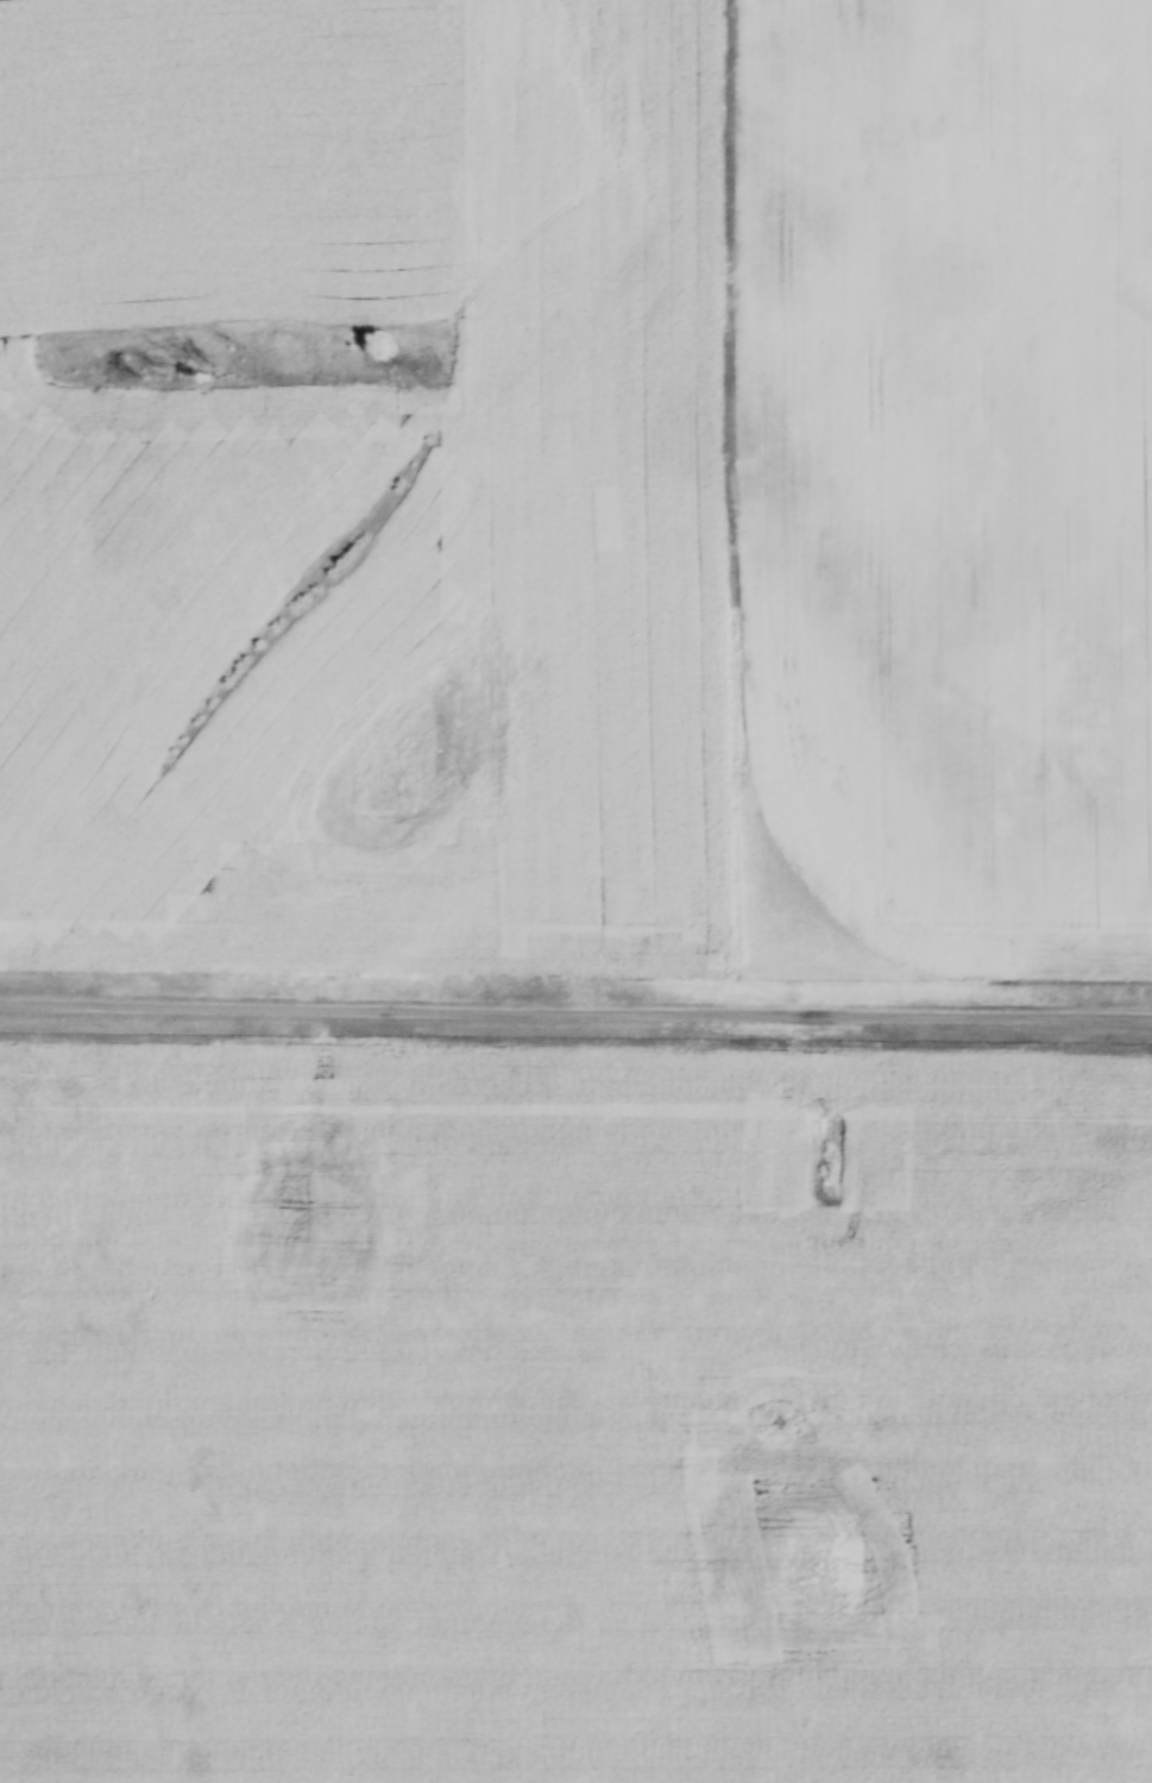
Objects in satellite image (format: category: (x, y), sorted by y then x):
road: (575, 1003)
power tower: (42, 1036)
power tower: (440, 1042)
power tower: (806, 1044)

